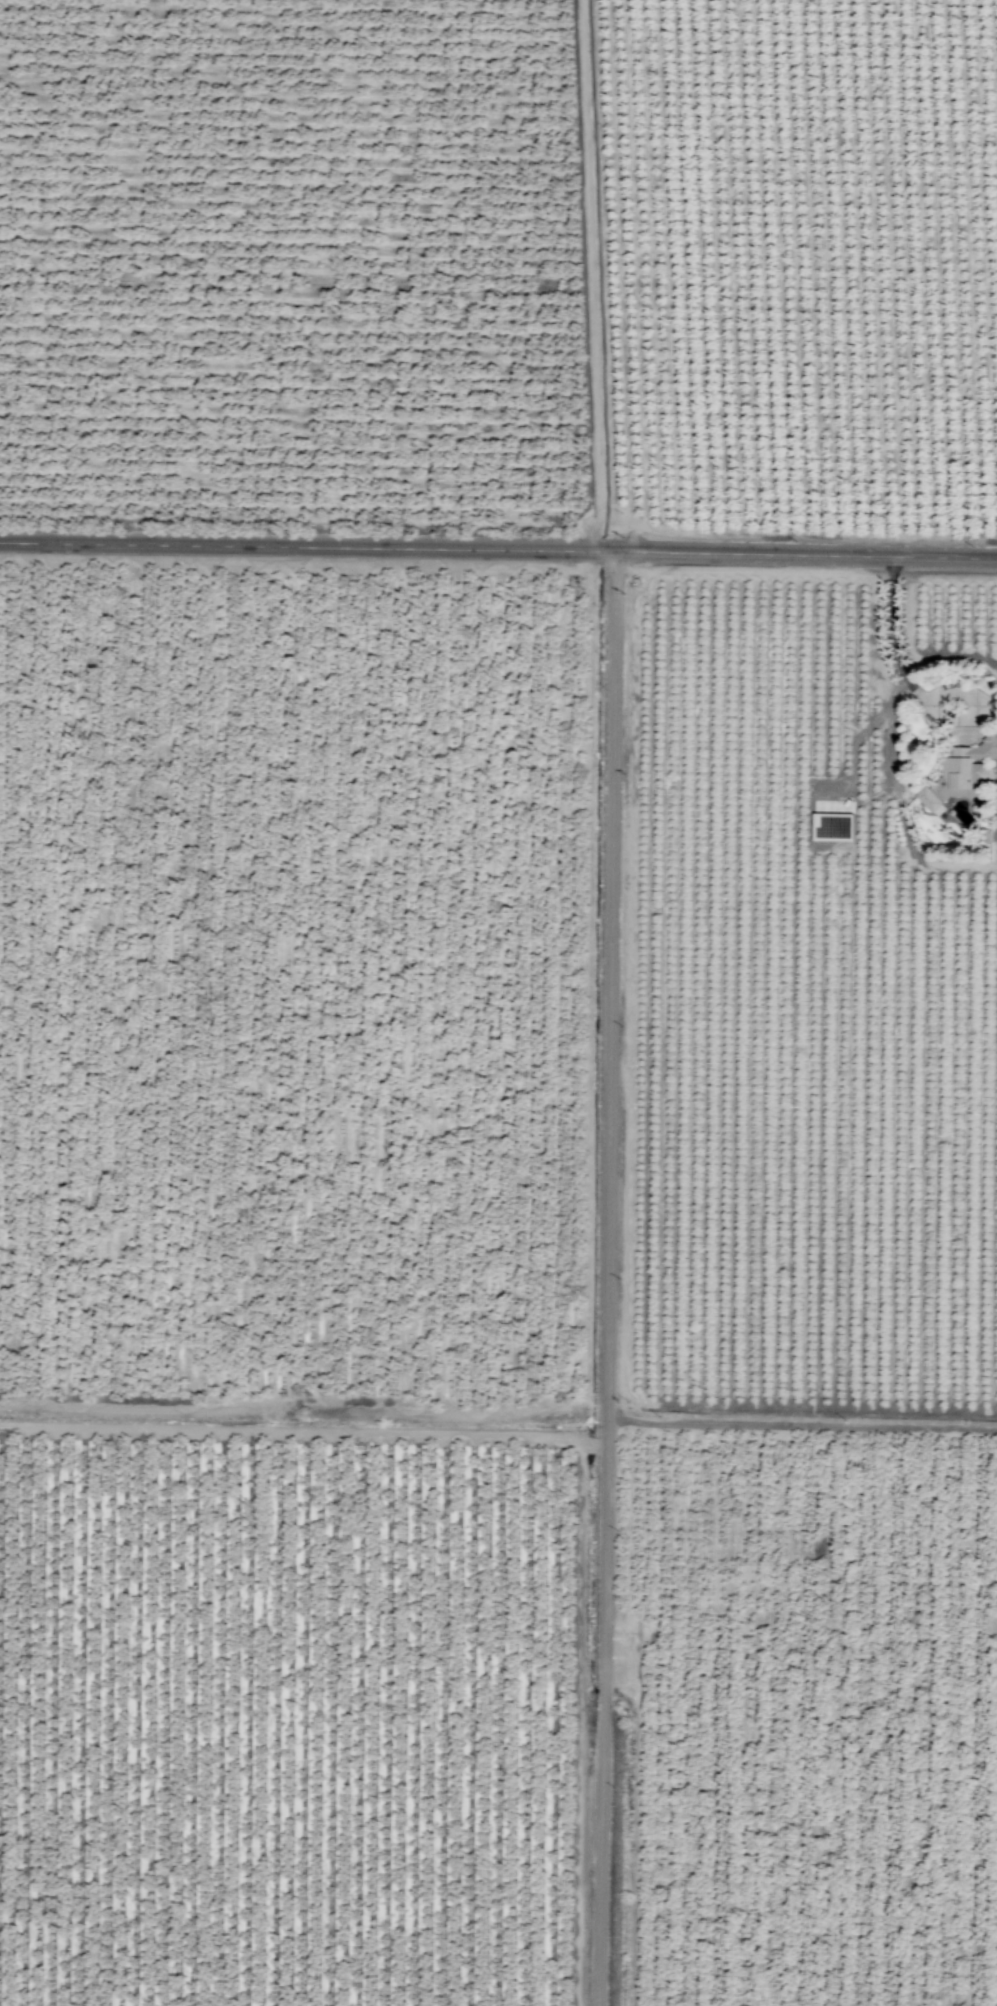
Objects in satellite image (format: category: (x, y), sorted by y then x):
road: (498, 549)
road: (893, 645)
building: (962, 773)
building: (834, 827)
road: (610, 1279)

